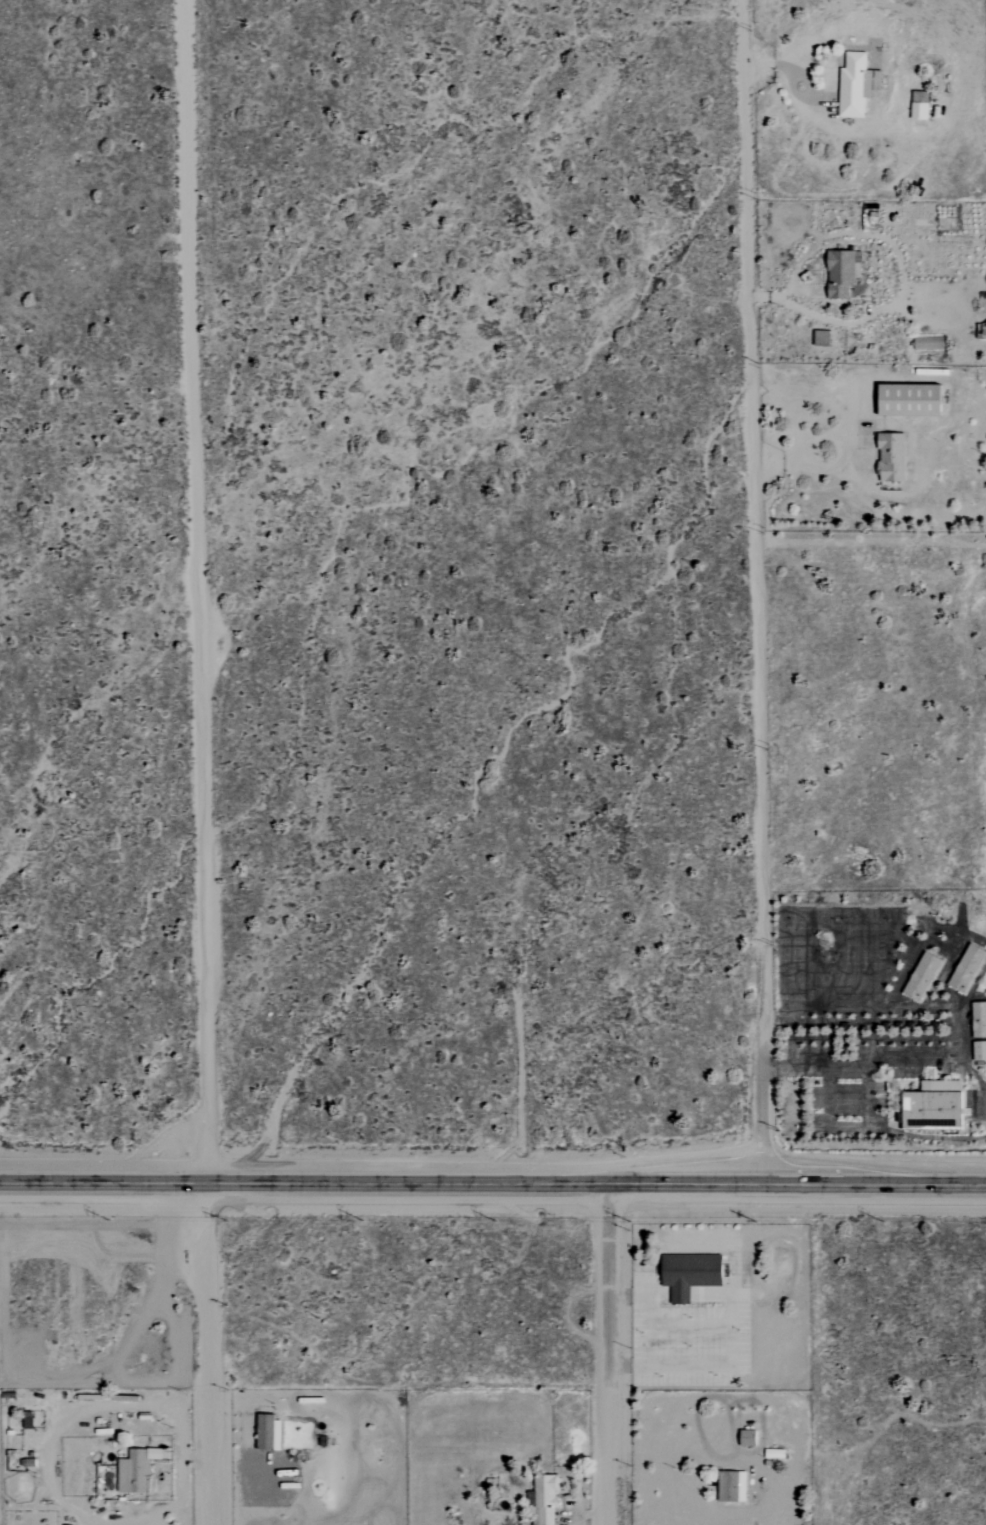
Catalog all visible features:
road: (843, 14)
road: (894, 70)
building: (855, 85)
road: (898, 251)
building: (841, 272)
building: (906, 399)
road: (841, 449)
building: (890, 457)
road: (781, 464)
road: (756, 497)
road: (198, 590)
building: (969, 968)
building: (925, 976)
building: (980, 1021)
building: (978, 1051)
road: (929, 1060)
road: (764, 1090)
road: (869, 1096)
building: (934, 1109)
road: (927, 1137)
road: (492, 1184)
building: (692, 1273)
road: (610, 1290)
road: (641, 1296)
road: (731, 1345)
road: (208, 1353)
road: (659, 1448)
road: (613, 1459)
building: (132, 1472)
building: (730, 1486)
building: (545, 1498)

